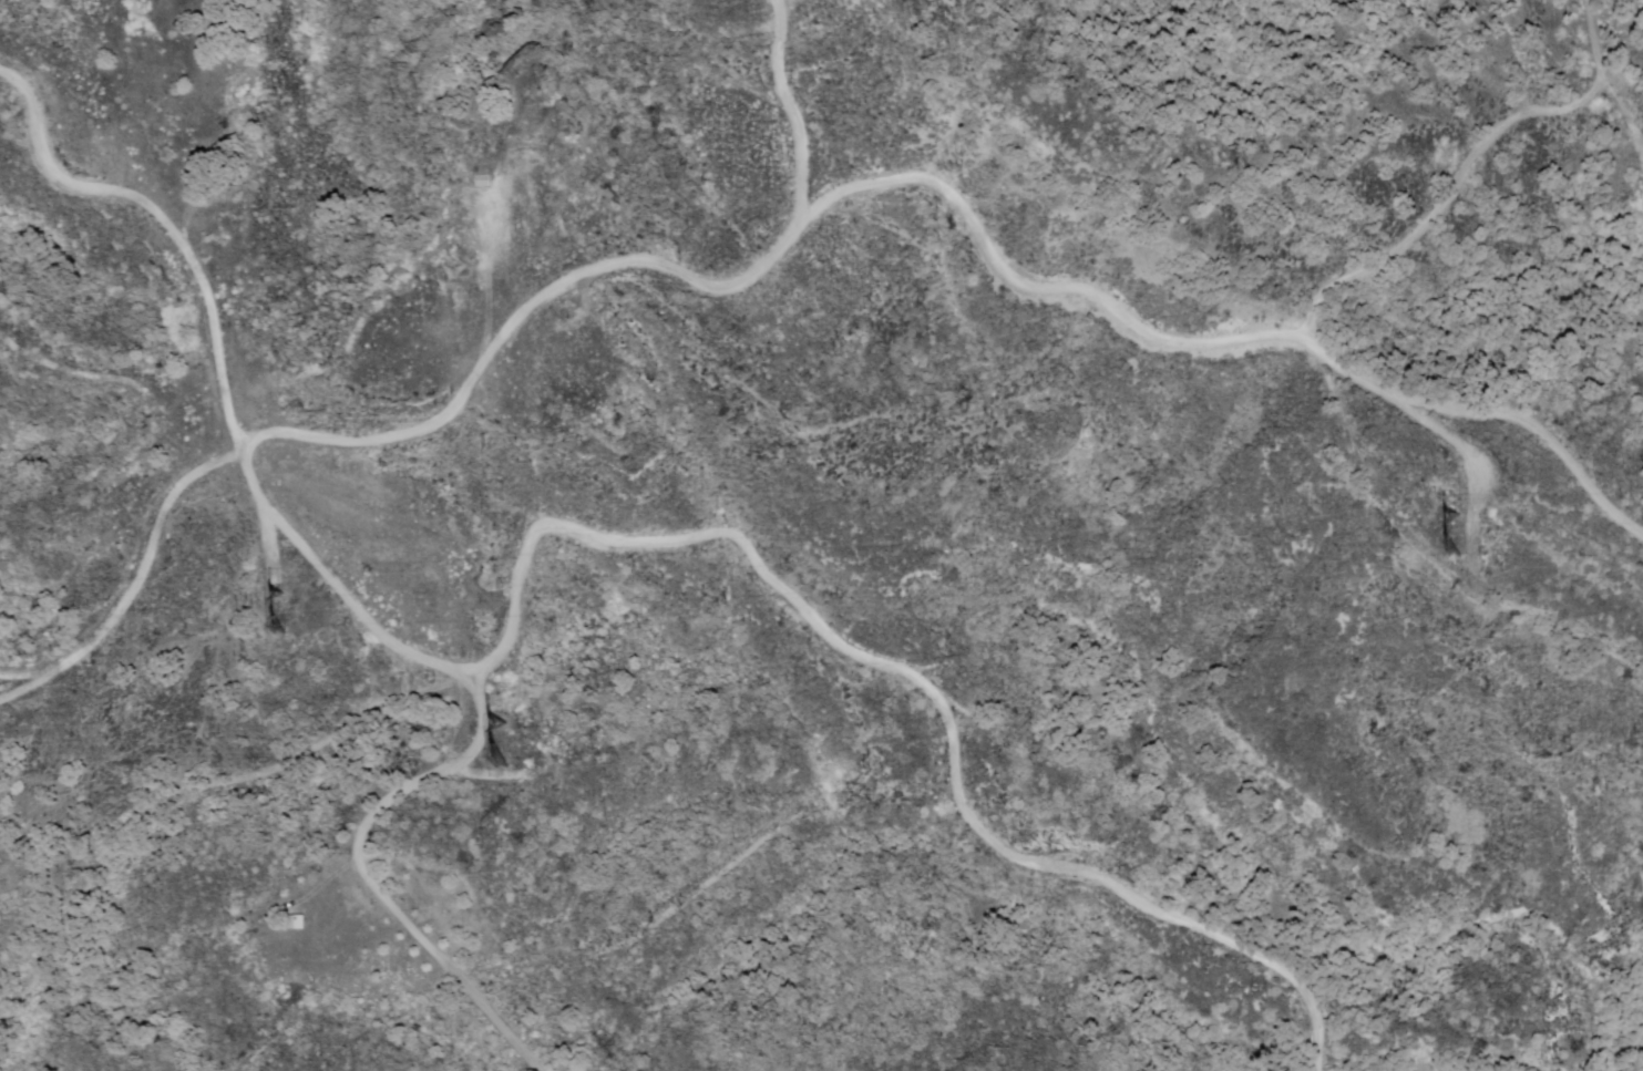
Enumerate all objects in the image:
road: (789, 101)
road: (773, 226)
power tower: (1439, 521)
road: (544, 529)
power tower: (268, 600)
road: (333, 601)
power tower: (485, 721)
road: (988, 846)
building: (297, 925)
road: (1614, 1050)

